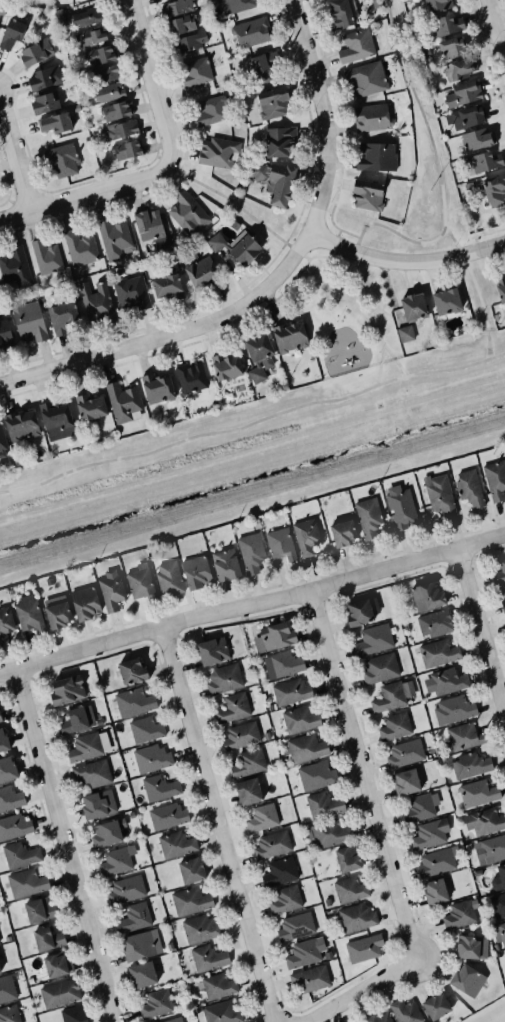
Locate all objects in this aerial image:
building: (160, 0)
building: (437, 4)
building: (235, 5)
building: (176, 7)
building: (1, 11)
building: (341, 13)
building: (86, 15)
building: (180, 24)
building: (446, 25)
building: (12, 32)
building: (251, 32)
road: (493, 35)
building: (91, 37)
building: (192, 40)
building: (356, 46)
building: (452, 48)
building: (36, 53)
building: (100, 54)
building: (263, 65)
building: (459, 69)
building: (195, 71)
building: (104, 73)
building: (45, 78)
building: (365, 79)
road: (150, 81)
building: (108, 93)
building: (463, 95)
building: (272, 102)
building: (45, 103)
building: (210, 110)
building: (116, 111)
road: (322, 115)
building: (370, 118)
building: (467, 118)
building: (56, 123)
building: (121, 128)
park: (424, 131)
building: (477, 140)
building: (281, 142)
building: (128, 150)
building: (217, 151)
road: (14, 156)
building: (375, 157)
building: (61, 158)
building: (486, 161)
road: (440, 179)
building: (273, 181)
building: (495, 191)
road: (85, 195)
building: (368, 195)
park: (242, 208)
building: (187, 214)
road: (331, 218)
road: (256, 220)
building: (151, 227)
road: (292, 230)
road: (393, 231)
road: (338, 232)
road: (349, 232)
building: (114, 239)
building: (237, 246)
road: (281, 247)
building: (80, 248)
building: (45, 256)
road: (406, 263)
building: (15, 267)
building: (200, 271)
road: (293, 279)
building: (165, 286)
building: (500, 289)
building: (130, 294)
building: (96, 302)
building: (447, 302)
building: (414, 306)
building: (62, 314)
road: (365, 315)
building: (29, 321)
building: (416, 329)
building: (406, 334)
building: (5, 335)
road: (171, 335)
building: (288, 337)
building: (257, 347)
road: (394, 358)
building: (226, 366)
building: (191, 380)
building: (156, 388)
park: (286, 390)
building: (123, 402)
building: (91, 407)
building: (54, 415)
road: (252, 421)
building: (21, 424)
building: (3, 445)
building: (495, 479)
building: (469, 488)
building: (440, 495)
building: (401, 508)
building: (358, 524)
building: (305, 535)
building: (280, 544)
building: (250, 552)
building: (226, 565)
building: (195, 572)
building: (499, 572)
building: (169, 578)
building: (141, 584)
building: (111, 592)
building: (428, 596)
building: (502, 601)
building: (86, 603)
road: (252, 606)
building: (59, 613)
building: (359, 613)
building: (29, 614)
building: (434, 623)
building: (6, 625)
road: (480, 636)
building: (273, 637)
building: (373, 639)
building: (213, 651)
building: (439, 653)
building: (285, 663)
building: (380, 668)
building: (132, 671)
building: (224, 679)
building: (445, 682)
building: (68, 690)
building: (292, 692)
building: (393, 696)
building: (133, 702)
building: (233, 708)
building: (453, 709)
building: (0, 718)
building: (301, 719)
building: (77, 720)
building: (395, 726)
building: (144, 730)
building: (241, 736)
building: (463, 738)
building: (4, 740)
building: (89, 746)
building: (305, 749)
building: (406, 753)
building: (150, 758)
building: (247, 762)
building: (470, 765)
building: (7, 769)
building: (91, 775)
building: (315, 775)
building: (406, 782)
building: (159, 788)
building: (249, 791)
building: (476, 792)
building: (9, 798)
building: (97, 804)
building: (322, 805)
building: (419, 807)
building: (166, 816)
building: (262, 818)
building: (484, 821)
building: (14, 825)
road: (217, 825)
building: (106, 832)
building: (331, 833)
road: (378, 833)
building: (429, 833)
building: (175, 844)
building: (271, 844)
road: (63, 846)
building: (493, 848)
building: (20, 855)
building: (347, 859)
building: (117, 861)
building: (437, 861)
building: (190, 871)
building: (280, 872)
building: (498, 879)
building: (27, 883)
building: (125, 889)
building: (349, 889)
building: (434, 892)
building: (284, 899)
building: (191, 901)
building: (498, 904)
building: (39, 910)
building: (461, 914)
building: (355, 917)
building: (134, 918)
building: (294, 926)
building: (201, 929)
building: (499, 933)
building: (48, 939)
building: (140, 946)
building: (466, 947)
building: (363, 948)
building: (305, 953)
building: (207, 958)
building: (58, 965)
building: (0, 973)
building: (141, 975)
building: (310, 979)
building: (467, 980)
building: (219, 986)
building: (6, 989)
building: (59, 992)
building: (155, 1004)
building: (435, 1007)
building: (223, 1012)
building: (407, 1012)
building: (10, 1014)
building: (74, 1014)
building: (379, 1018)
building: (173, 1019)

